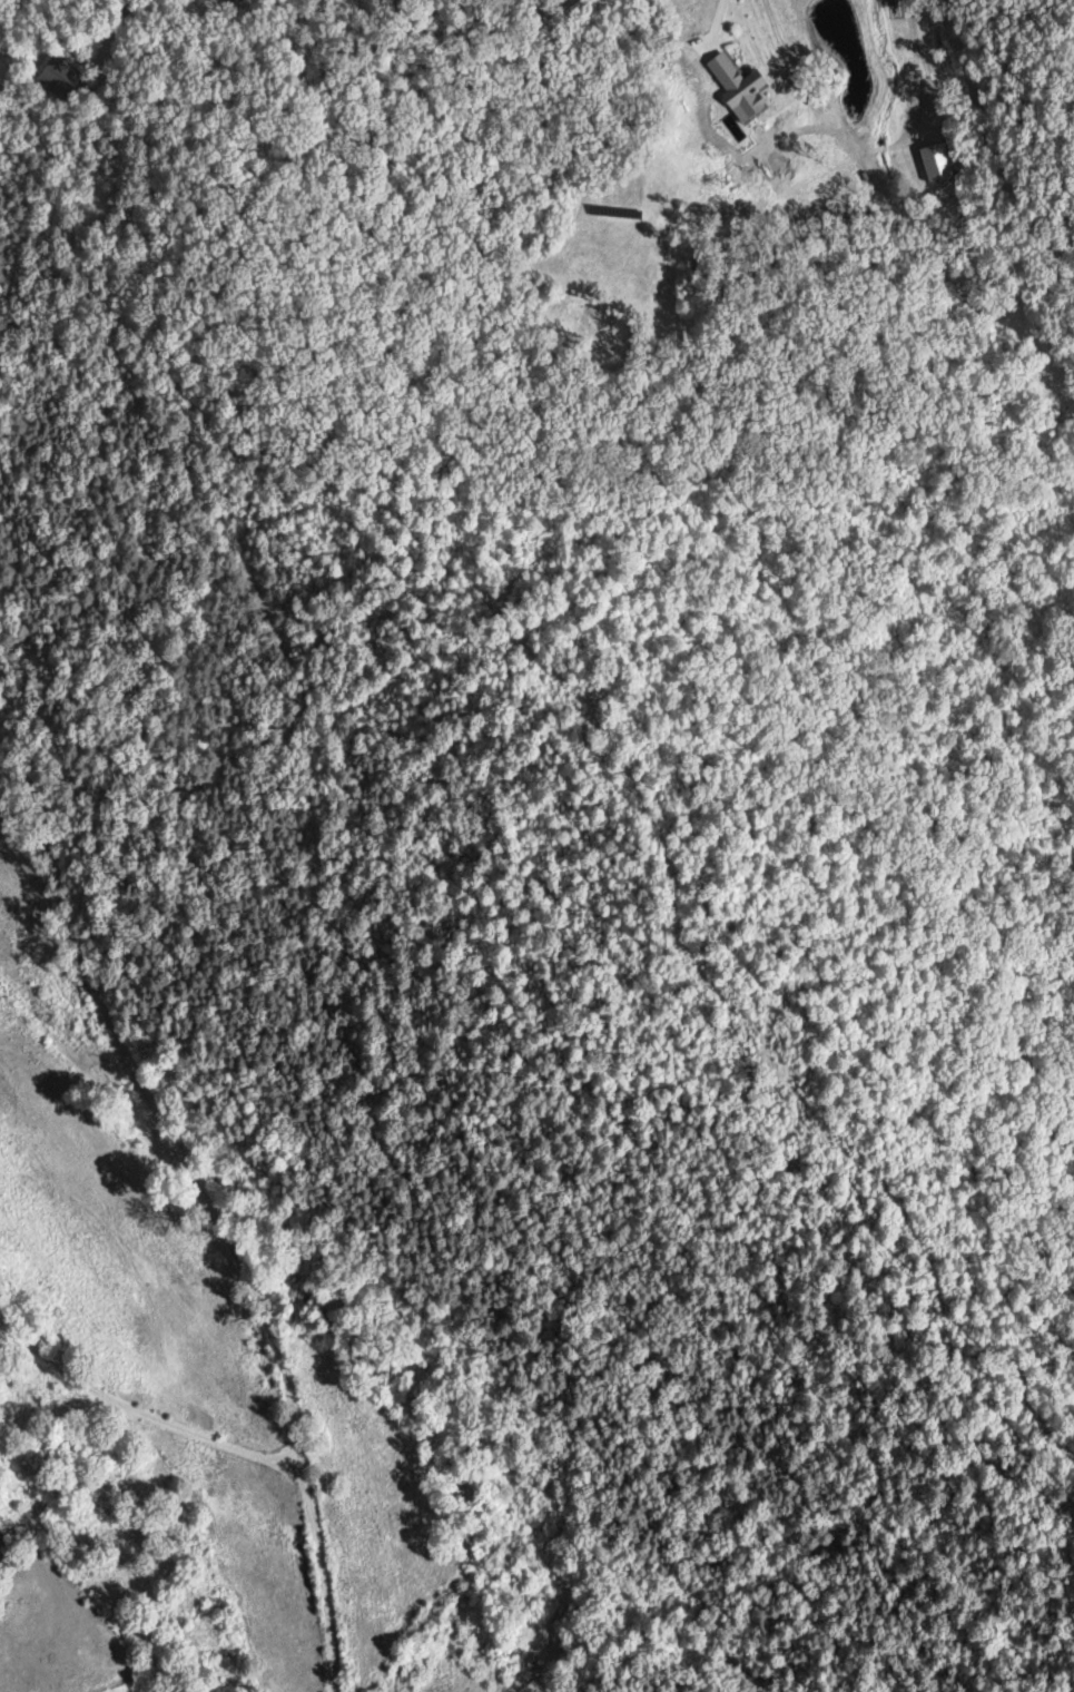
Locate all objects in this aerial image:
road: (265, 49)
building: (752, 85)
building: (936, 159)
road: (953, 163)
road: (912, 274)
road: (57, 1026)
road: (213, 1158)
road: (139, 1414)

